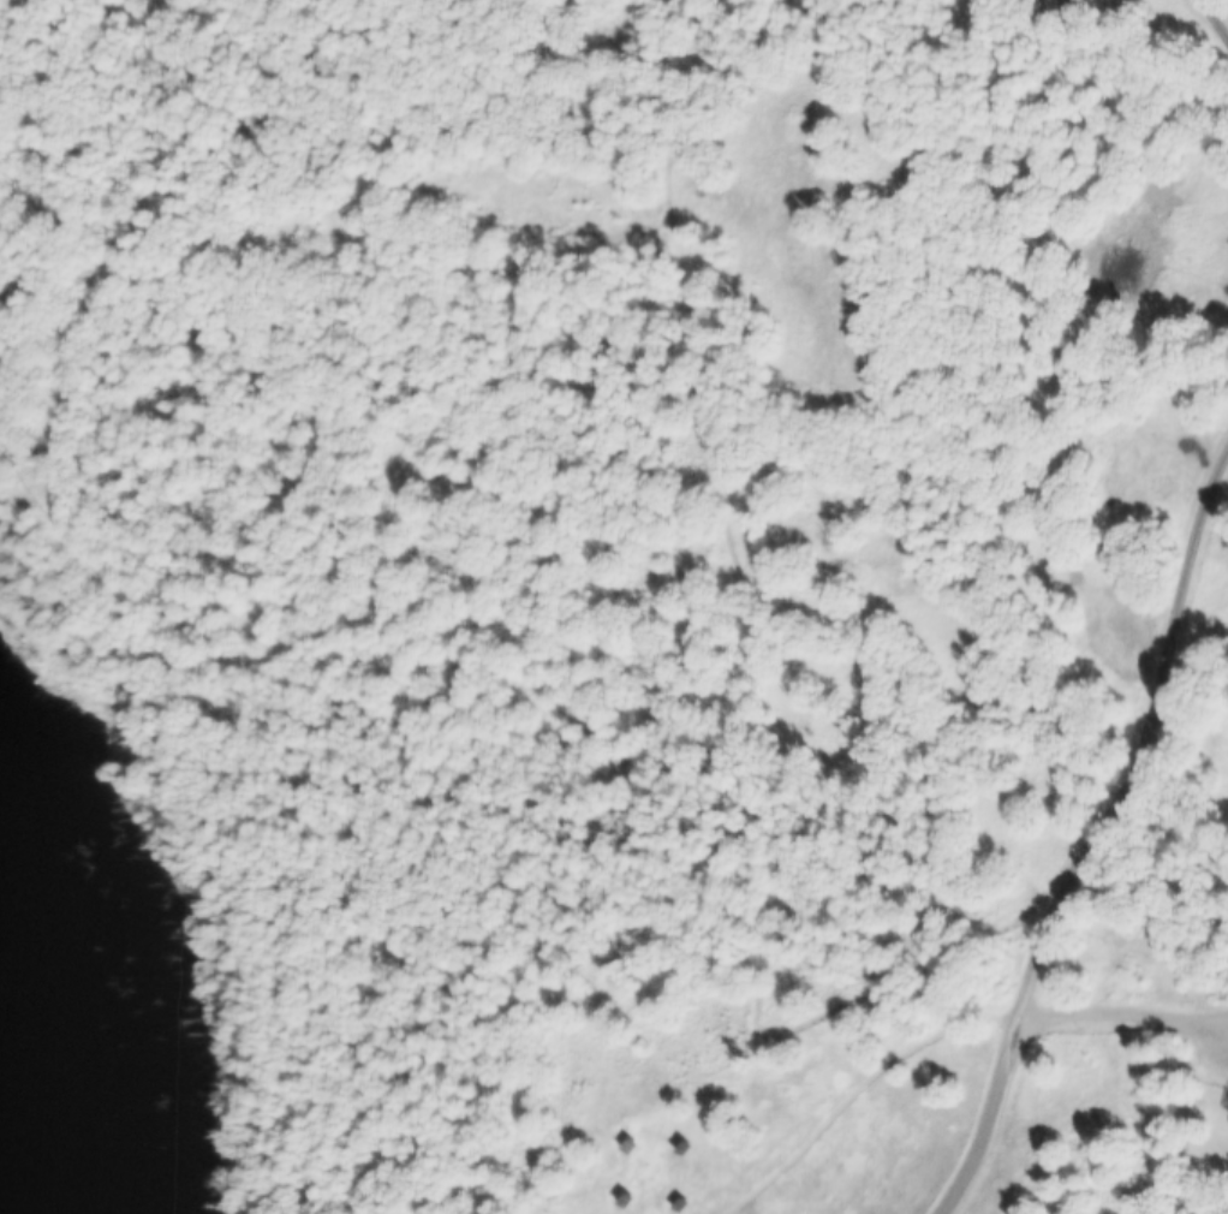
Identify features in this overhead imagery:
road: (1216, 17)
road: (1144, 748)
road: (1119, 1004)
road: (989, 1107)
road: (943, 1206)

